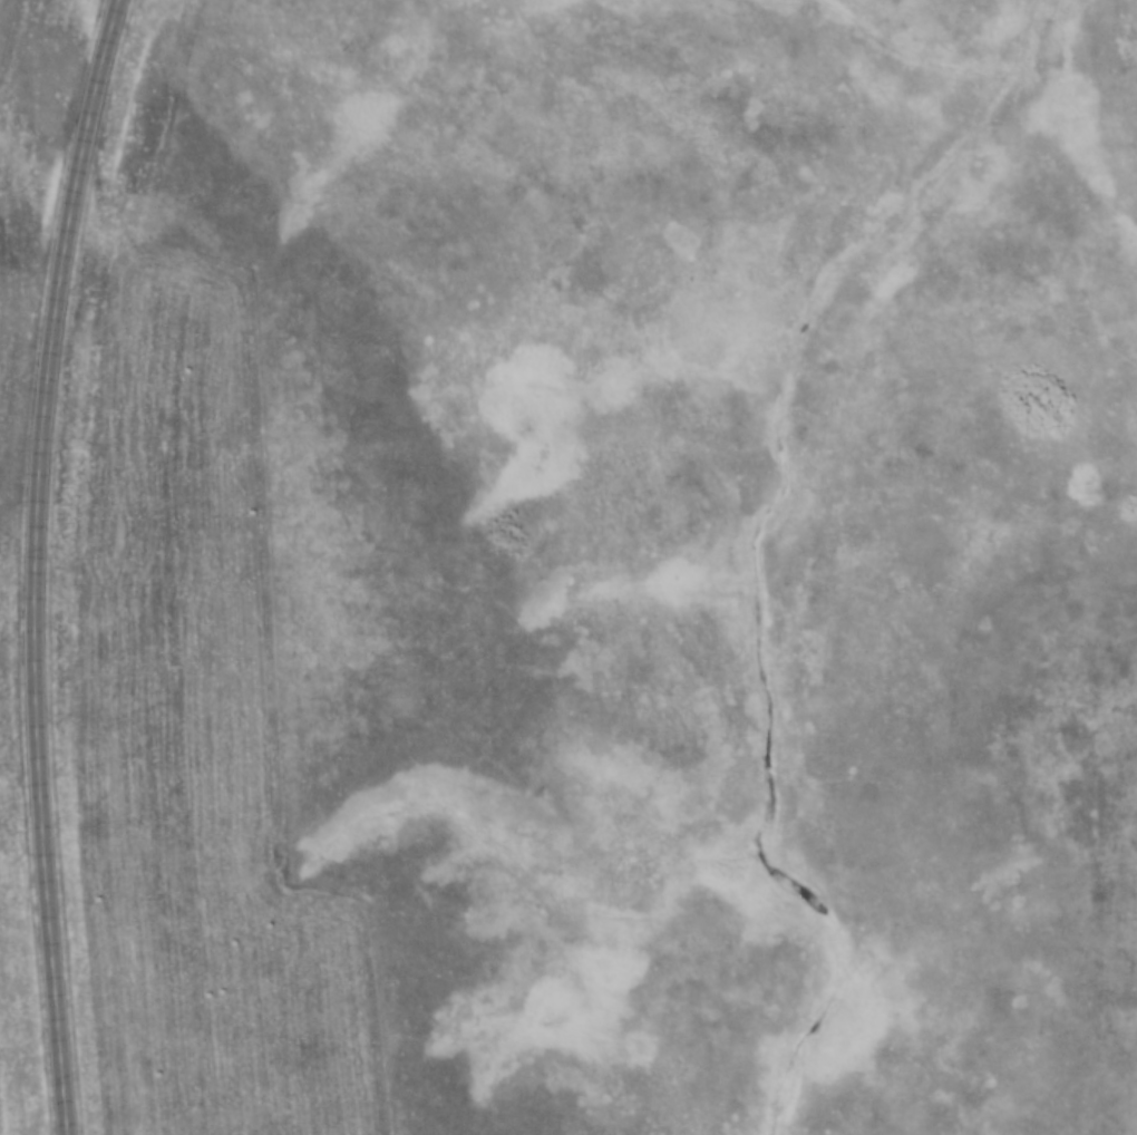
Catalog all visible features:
road: (40, 564)

